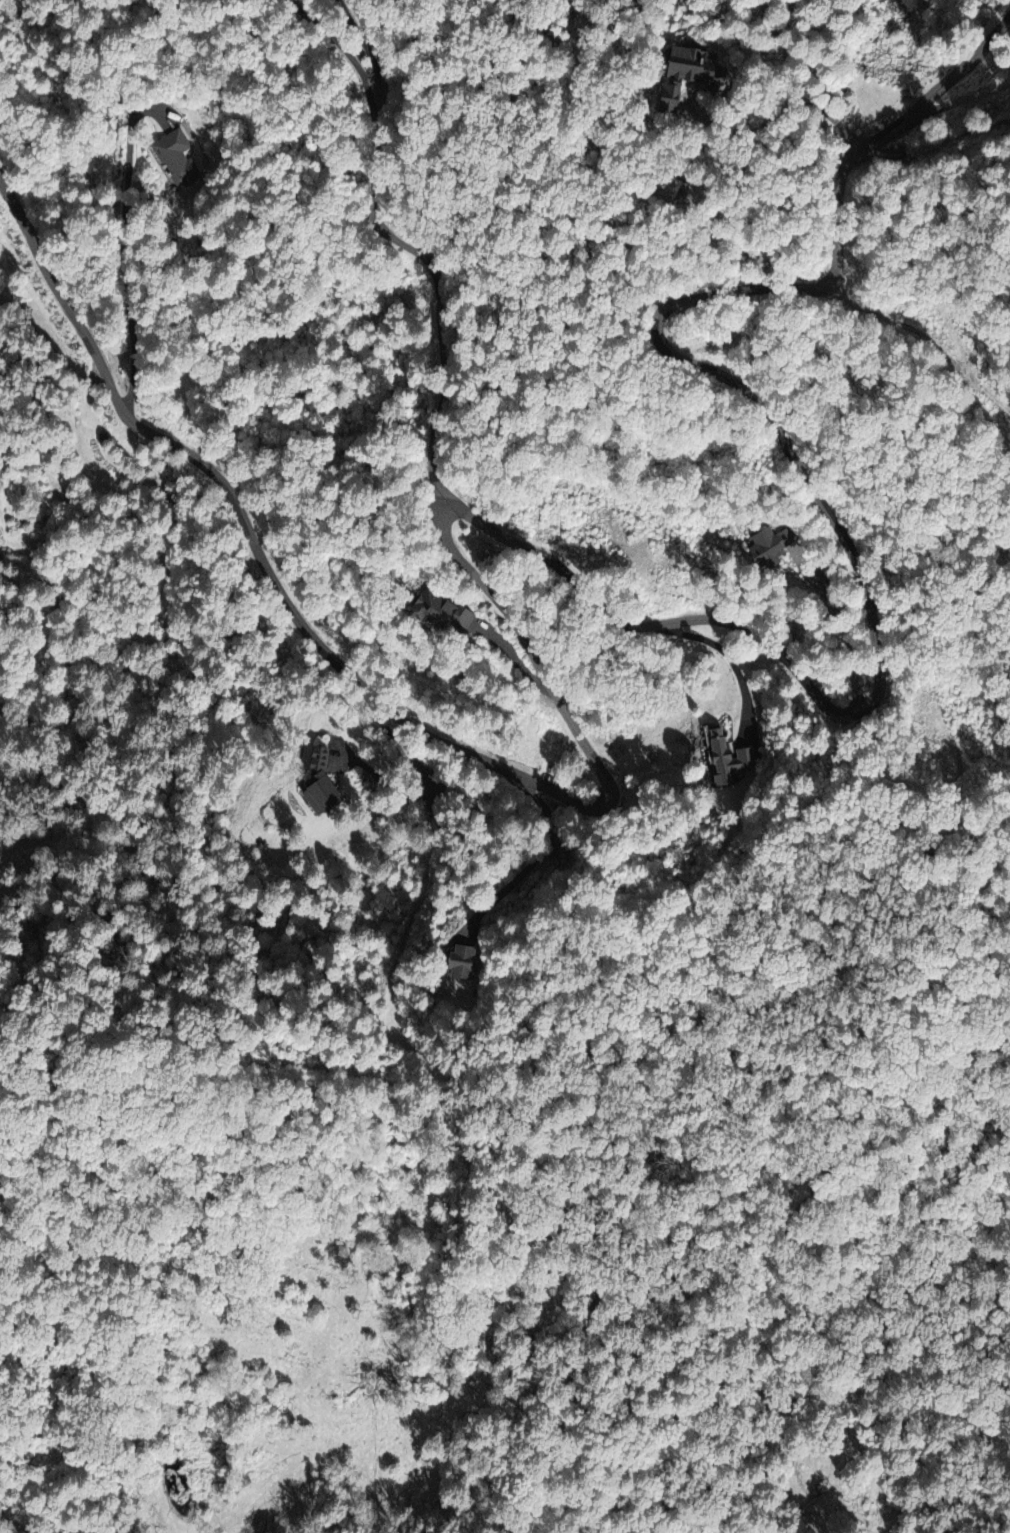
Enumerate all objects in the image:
road: (346, 47)
building: (682, 72)
road: (938, 86)
road: (788, 107)
building: (174, 157)
road: (127, 254)
road: (437, 293)
road: (923, 337)
building: (768, 545)
road: (851, 568)
building: (441, 611)
road: (356, 681)
building: (722, 755)
building: (315, 783)
road: (536, 860)
road: (426, 880)
building: (458, 960)

